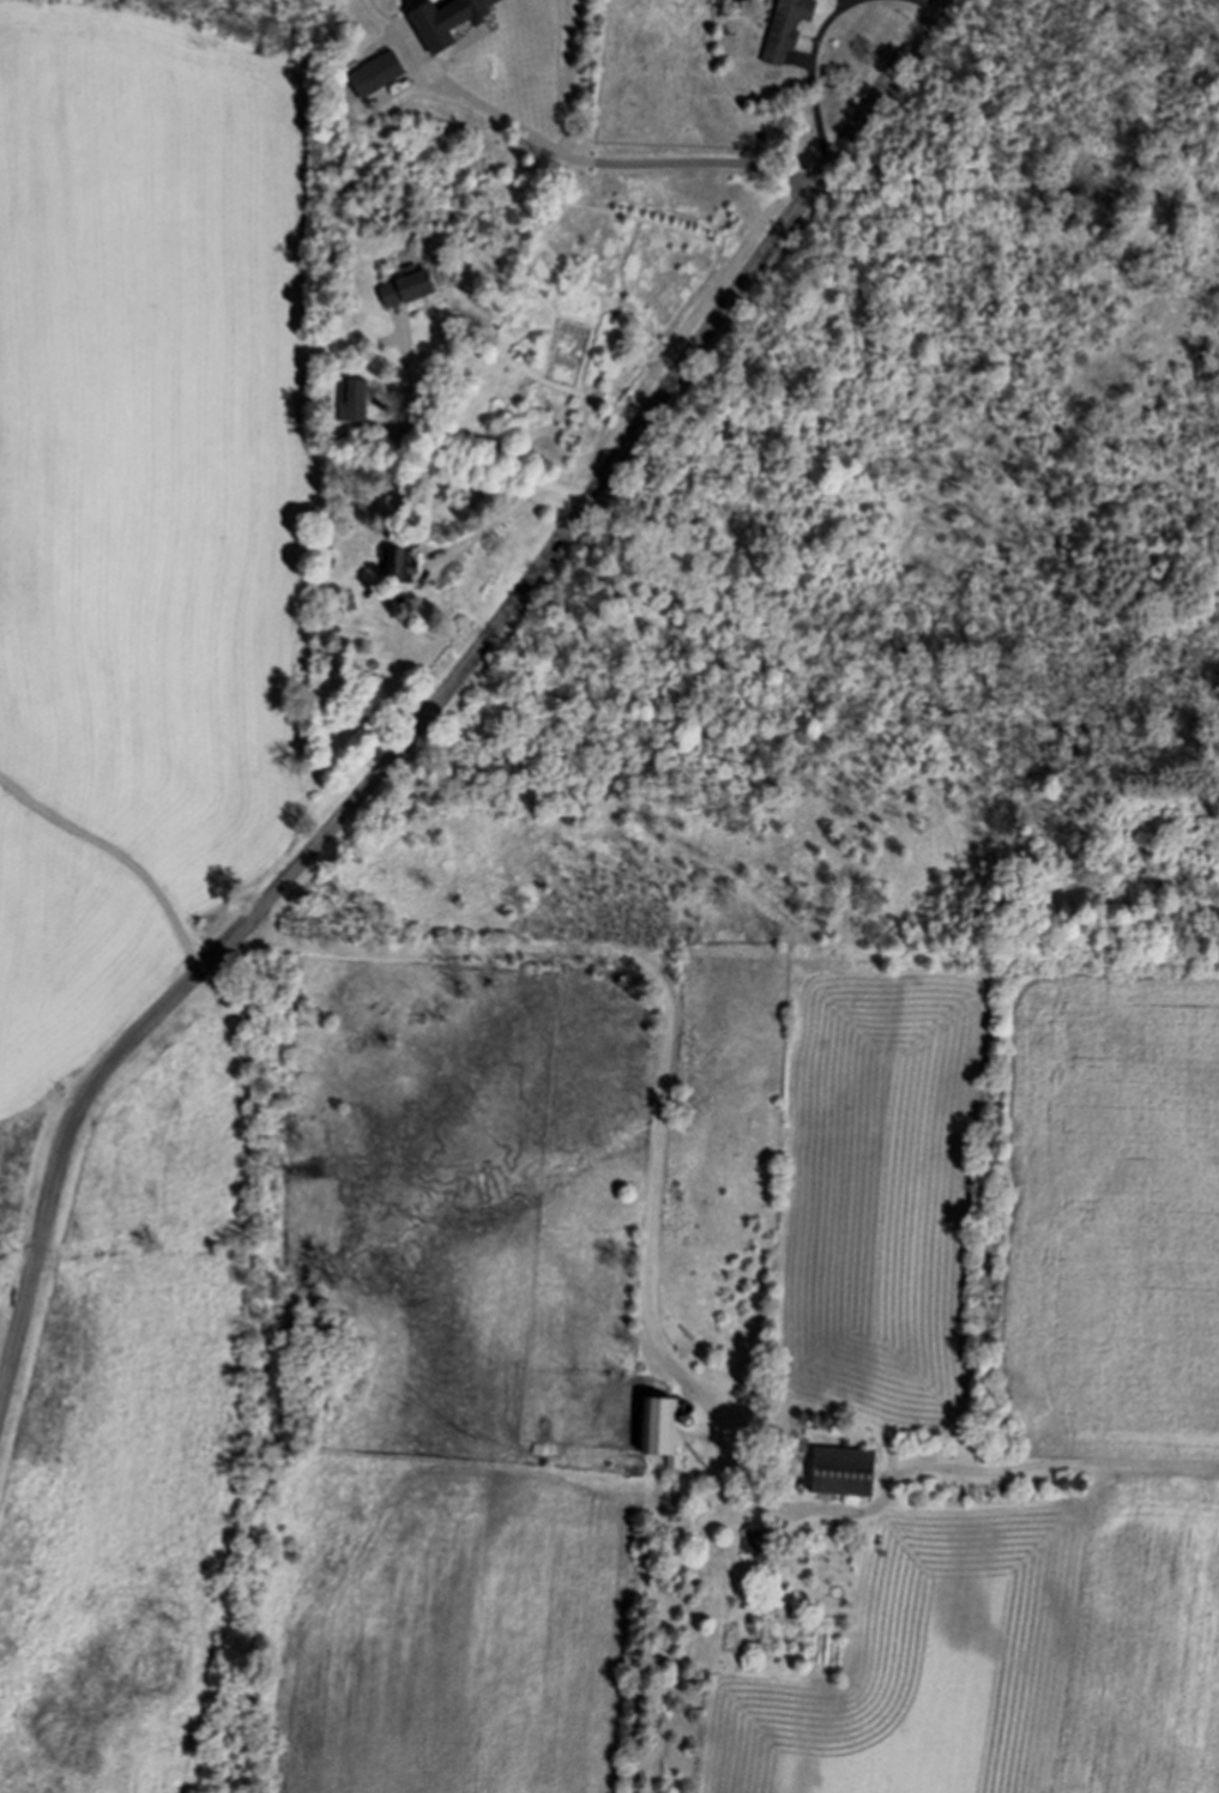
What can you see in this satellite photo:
road: (924, 4)
building: (446, 20)
building: (785, 28)
building: (375, 74)
road: (811, 76)
road: (612, 163)
building: (405, 289)
building: (352, 402)
road: (441, 447)
road: (491, 526)
building: (402, 565)
road: (446, 699)
road: (120, 856)
road: (657, 1147)
building: (656, 1426)
building: (841, 1472)
building: (754, 1540)

